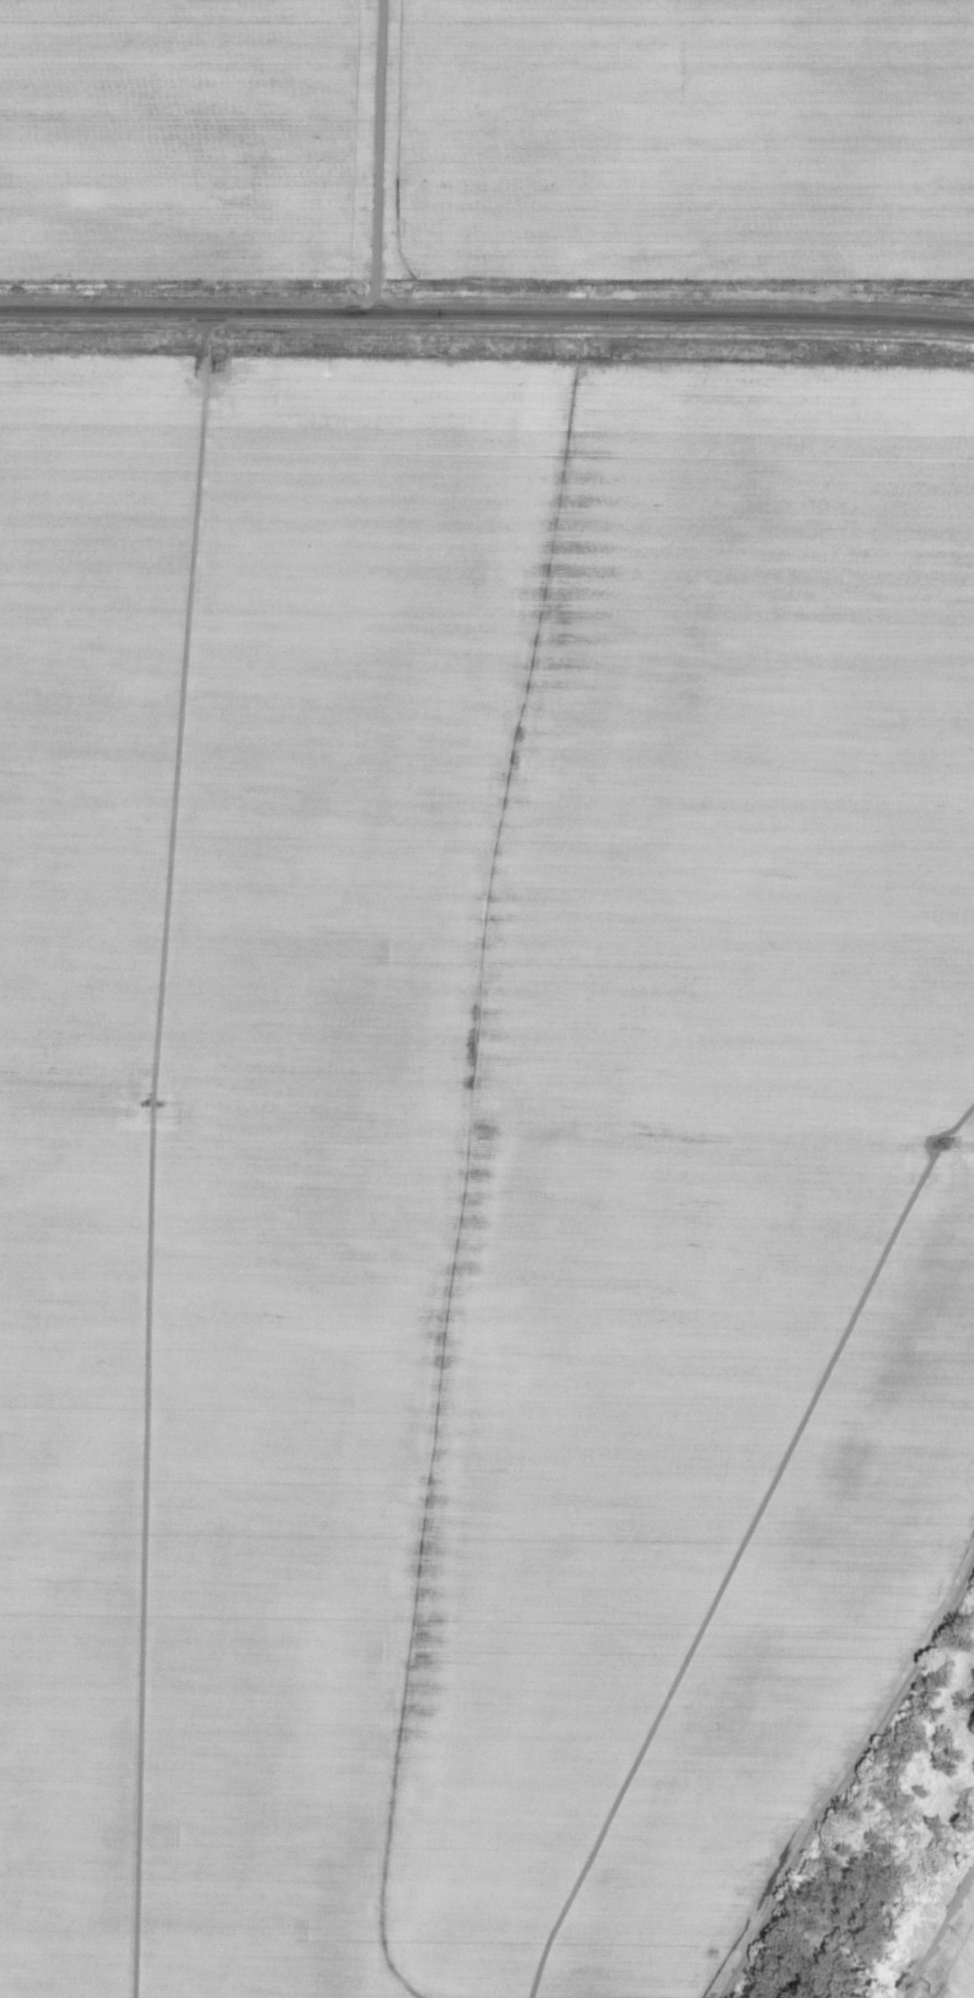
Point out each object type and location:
road: (377, 156)
road: (487, 313)

